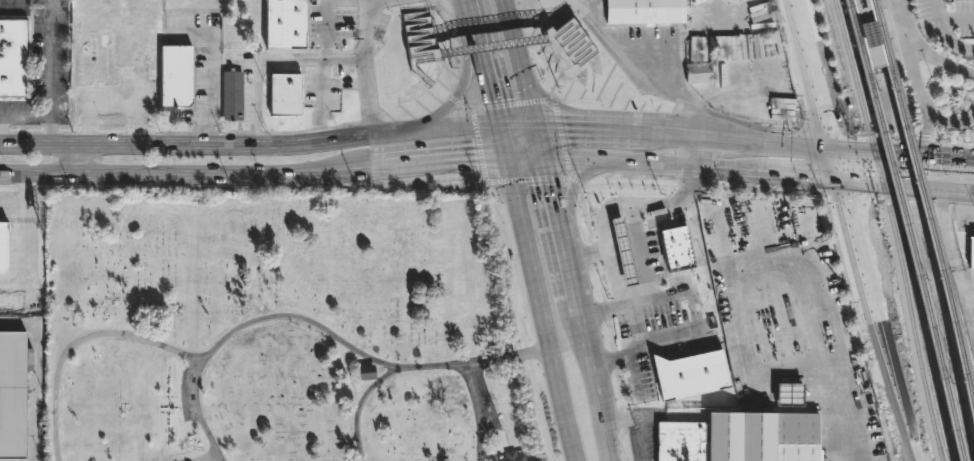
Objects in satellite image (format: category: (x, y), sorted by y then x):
road: (893, 1)
road: (511, 2)
road: (523, 6)
building: (644, 11)
road: (472, 17)
parking lot: (945, 17)
road: (956, 21)
building: (284, 25)
road: (407, 28)
road: (327, 29)
road: (364, 29)
railway: (855, 32)
road: (942, 36)
road: (540, 40)
road: (577, 42)
road: (492, 45)
road: (922, 51)
road: (434, 55)
building: (14, 58)
building: (93, 58)
road: (344, 58)
road: (905, 58)
road: (518, 61)
road: (413, 65)
road: (257, 66)
road: (631, 67)
railway: (874, 67)
building: (698, 72)
road: (50, 73)
road: (569, 73)
road: (814, 73)
road: (824, 74)
railway: (874, 74)
building: (176, 75)
road: (571, 75)
road: (489, 78)
road: (210, 89)
building: (282, 94)
building: (230, 95)
traffic signals: (494, 96)
road: (455, 97)
road: (318, 98)
road: (366, 98)
road: (109, 100)
road: (461, 103)
road: (377, 110)
road: (25, 116)
road: (586, 118)
road: (949, 123)
road: (516, 124)
traffic signals: (564, 125)
road: (603, 128)
road: (742, 128)
road: (681, 132)
road: (924, 133)
road: (760, 140)
road: (503, 141)
road: (539, 141)
road: (250, 145)
road: (808, 147)
traffic signals: (832, 147)
road: (689, 150)
road: (877, 151)
traffic signals: (476, 158)
road: (948, 158)
road: (525, 159)
road: (73, 160)
road: (439, 160)
road: (653, 165)
road: (837, 165)
road: (358, 169)
road: (568, 173)
road: (172, 174)
road: (801, 179)
road: (575, 181)
traffic signals: (842, 183)
road: (851, 186)
road: (888, 187)
traffic signals: (551, 191)
road: (954, 191)
road: (569, 192)
road: (553, 200)
railway: (925, 200)
road: (938, 202)
building: (612, 215)
gas station: (612, 215)
railway: (892, 229)
road: (624, 232)
building: (2, 246)
building: (663, 246)
building: (971, 253)
road: (953, 257)
railway: (918, 262)
road: (567, 269)
road: (189, 280)
building: (10, 300)
road: (632, 303)
road: (603, 309)
road: (541, 310)
road: (524, 318)
road: (607, 322)
road: (879, 322)
road: (635, 323)
park: (277, 328)
road: (320, 331)
road: (577, 333)
road: (132, 336)
road: (640, 342)
road: (631, 373)
road: (35, 374)
building: (693, 375)
building: (13, 395)
building: (786, 395)
road: (359, 407)
road: (832, 412)
road: (475, 413)
road: (596, 415)
road: (638, 418)
building: (761, 437)
building: (679, 441)
building: (512, 457)
road: (188, 460)

